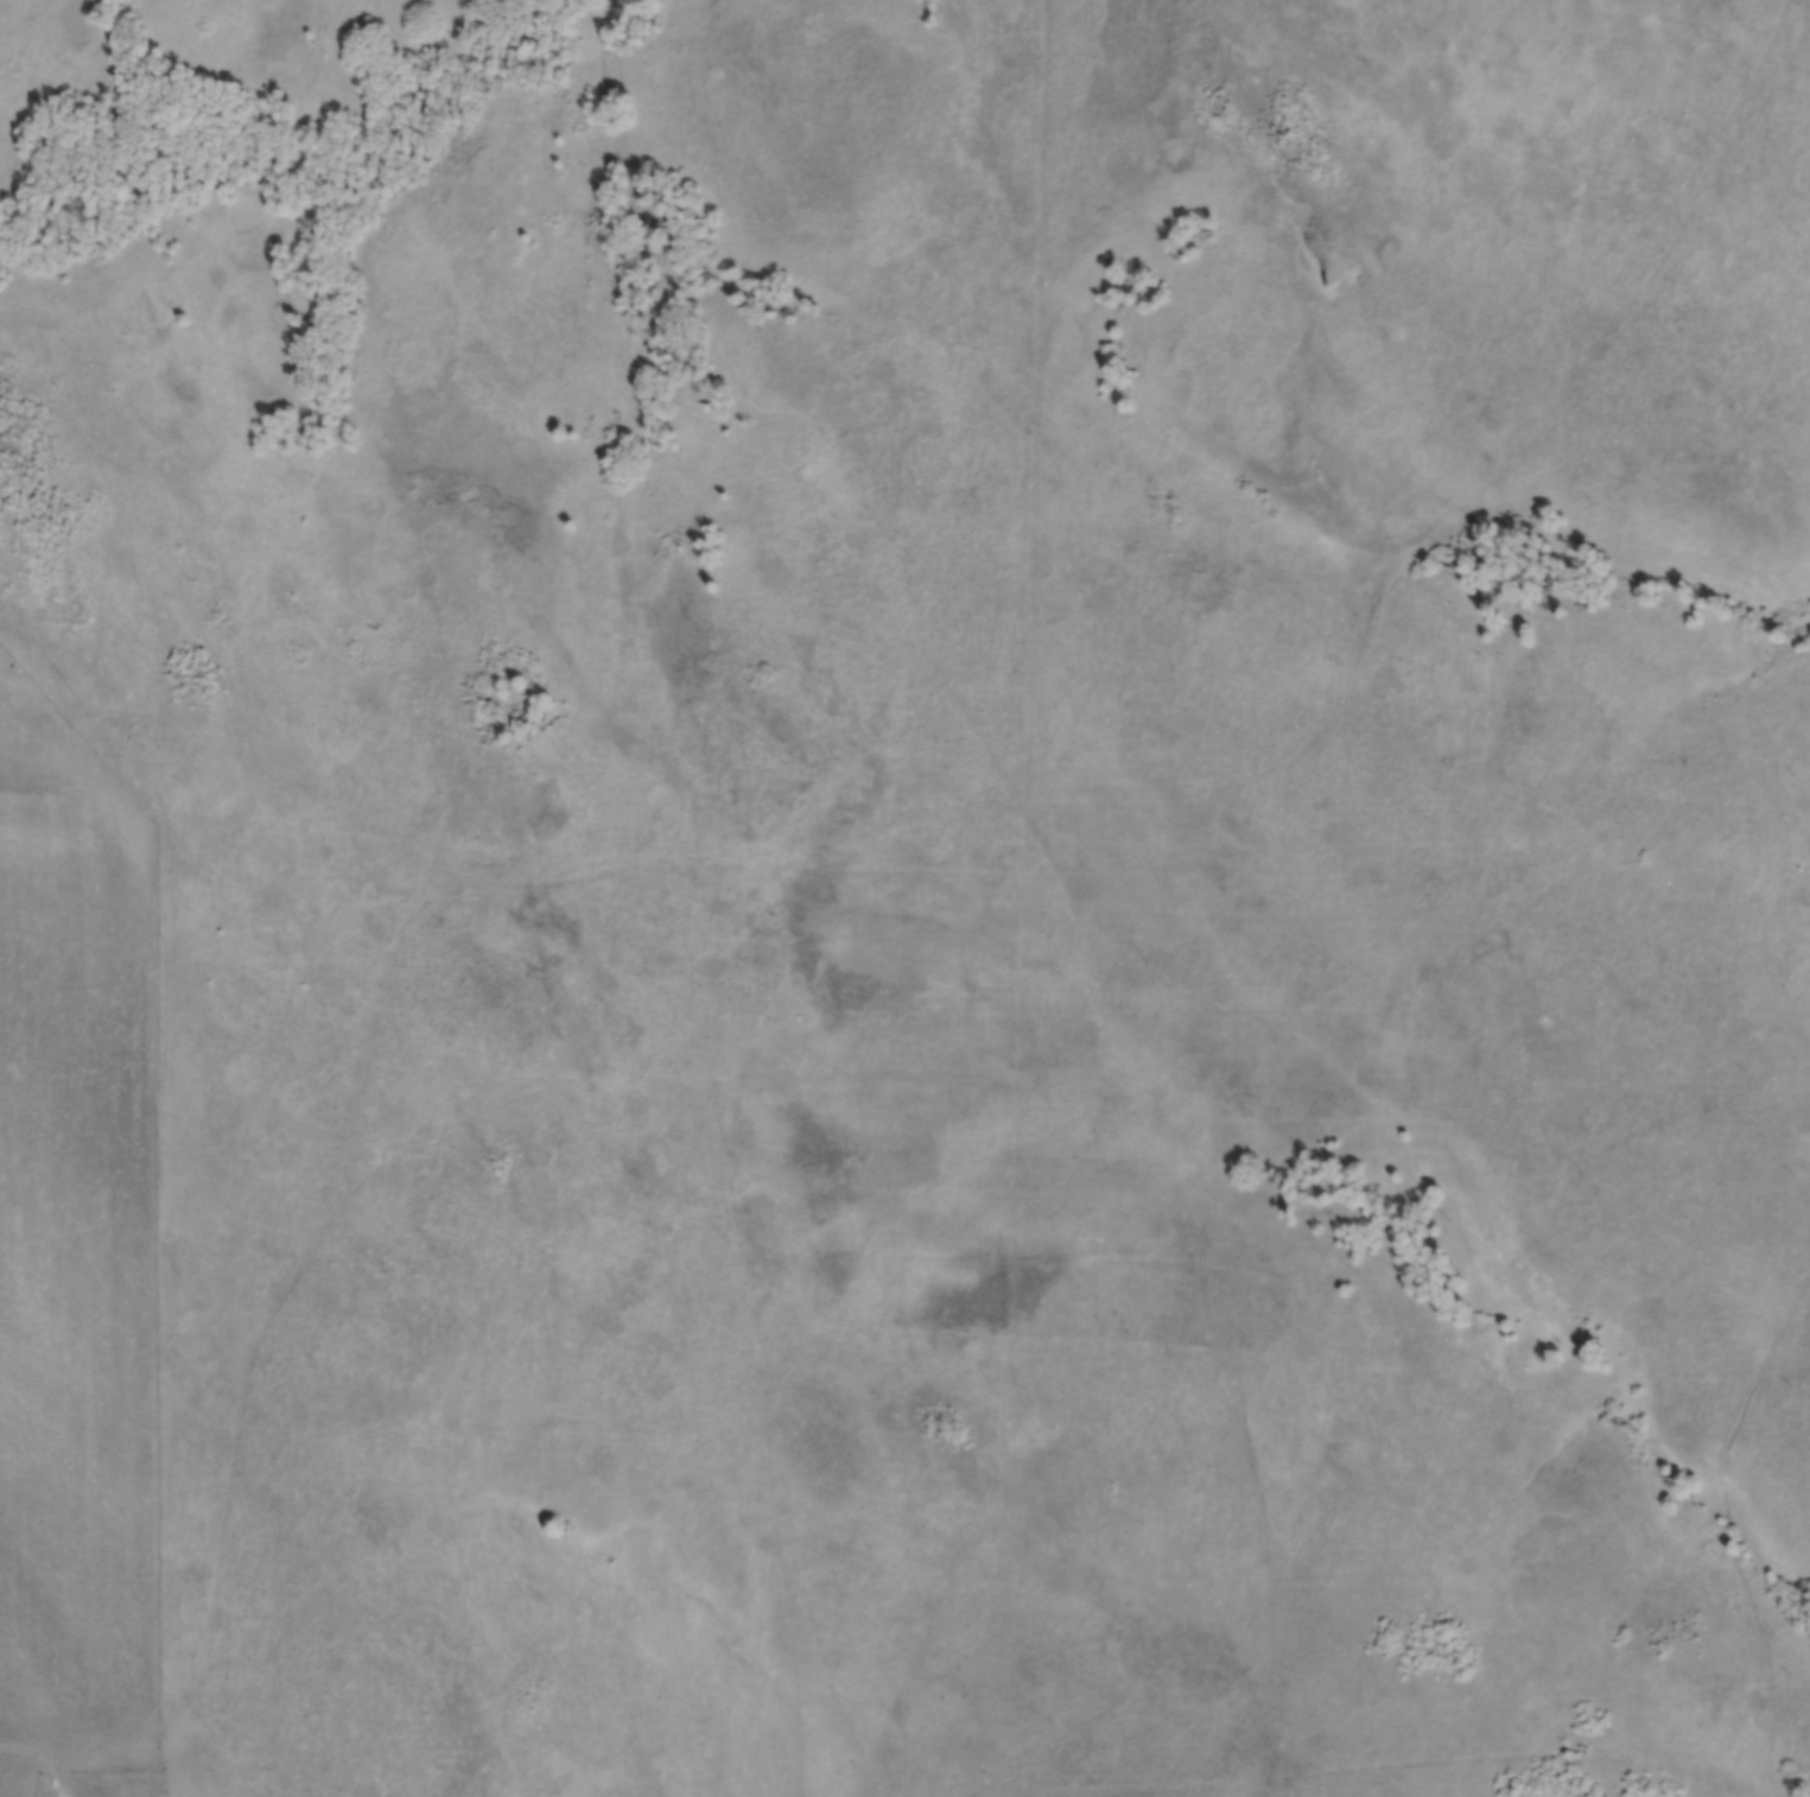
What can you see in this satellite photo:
road: (154, 1790)

